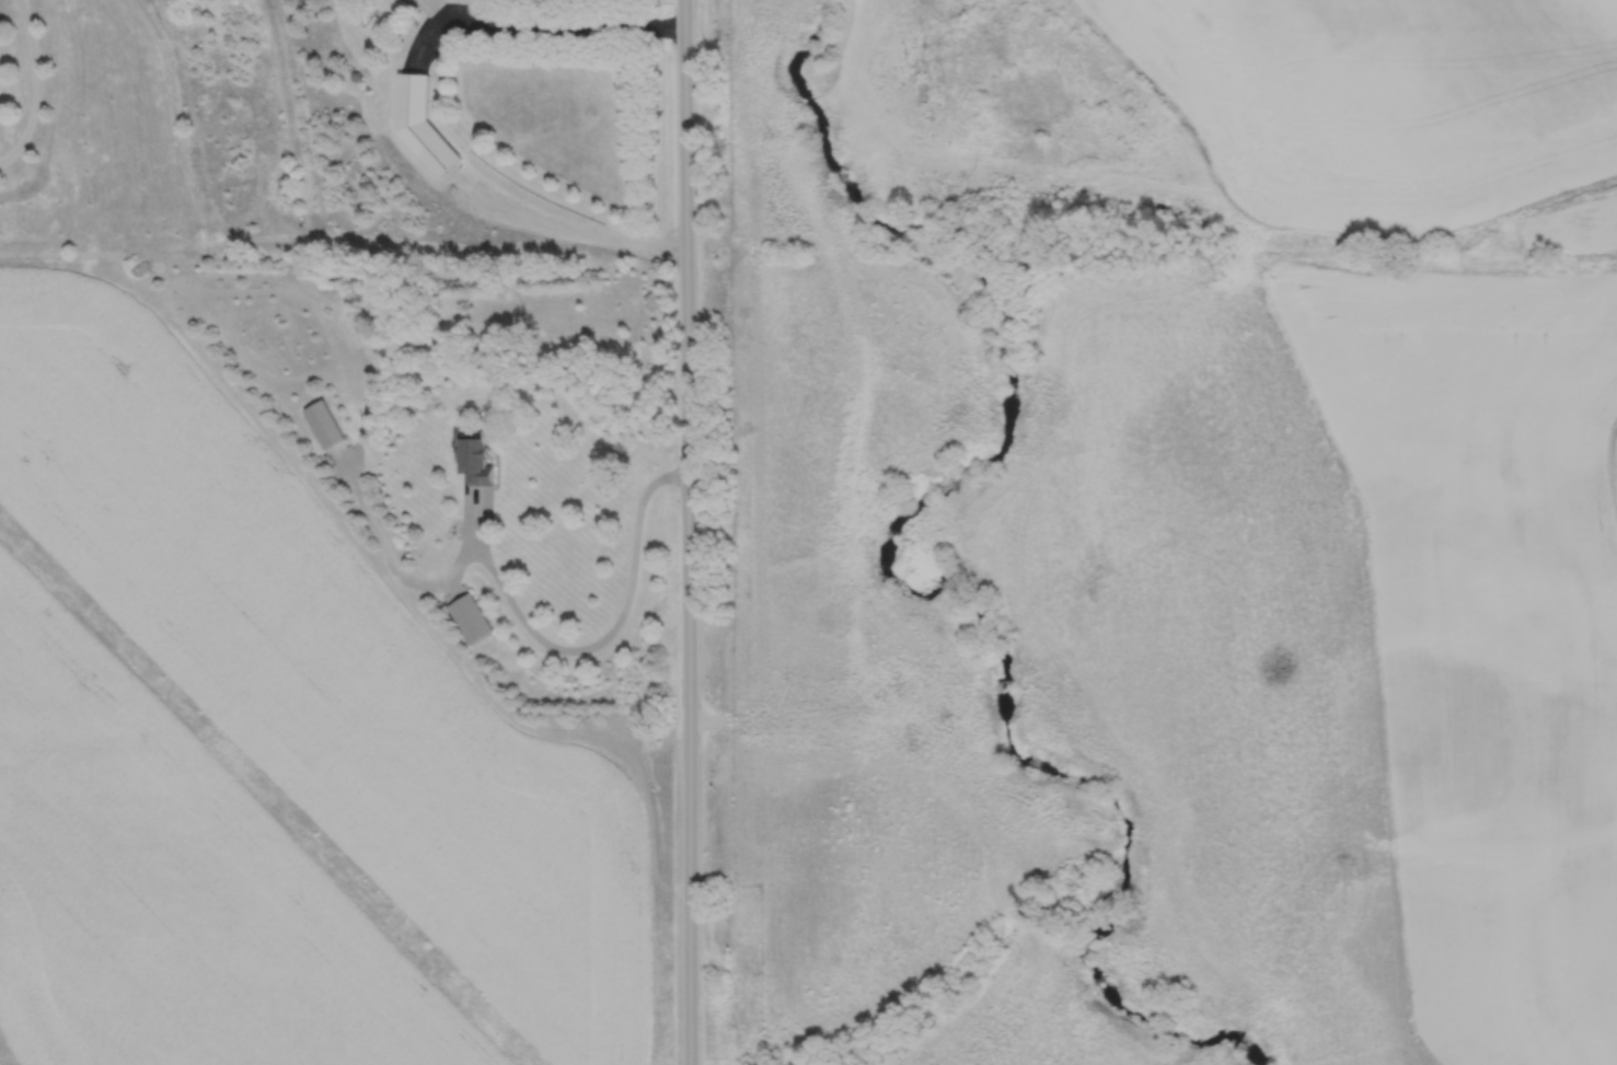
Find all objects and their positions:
building: (411, 1)
road: (543, 24)
road: (34, 84)
building: (419, 125)
road: (565, 232)
building: (324, 425)
building: (476, 461)
road: (472, 525)
road: (686, 532)
park: (1029, 575)
road: (521, 617)
building: (470, 618)

